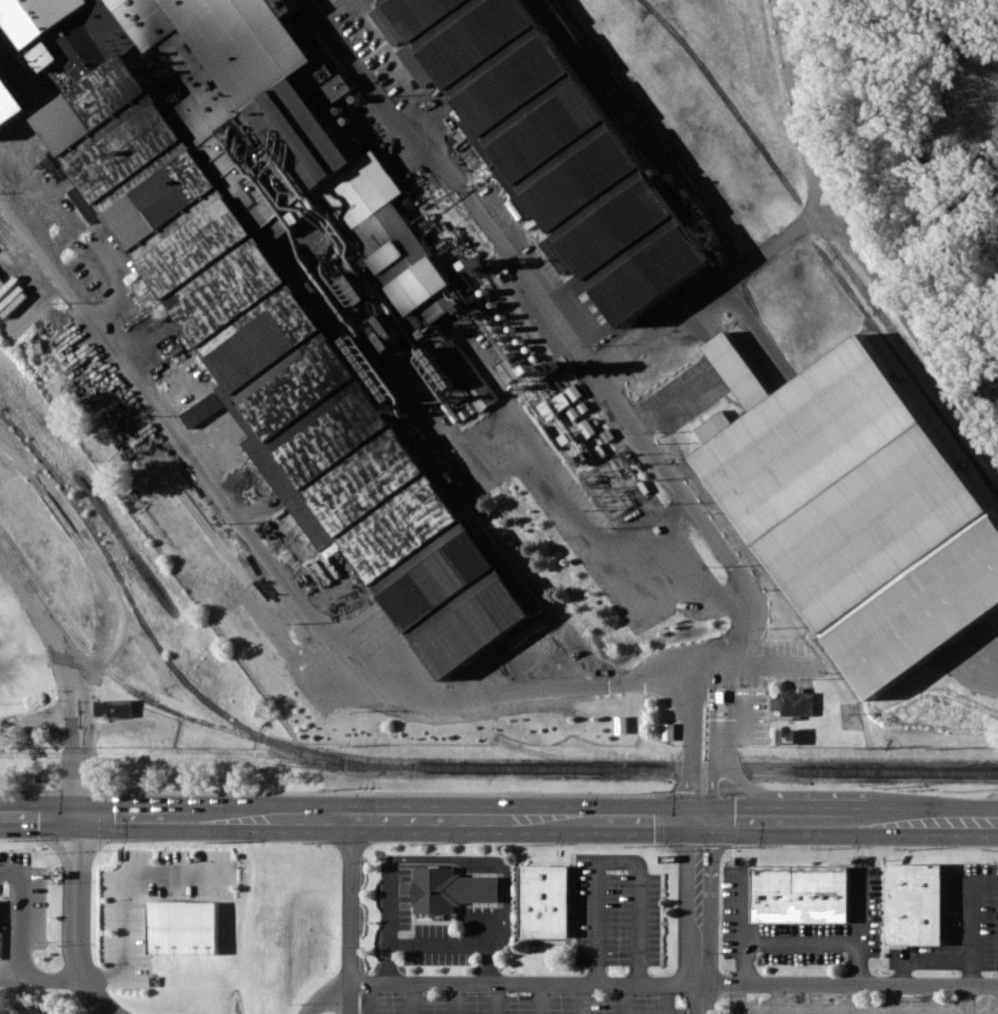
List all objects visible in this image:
building: (388, 24)
building: (417, 64)
building: (11, 99)
railway: (594, 114)
railway: (537, 130)
railway: (513, 136)
building: (565, 146)
railway: (689, 182)
railway: (823, 233)
road: (849, 239)
building: (557, 253)
road: (709, 287)
building: (453, 301)
building: (285, 368)
building: (461, 373)
road: (992, 381)
road: (672, 405)
building: (201, 409)
railway: (882, 504)
building: (862, 514)
road: (578, 524)
road: (682, 564)
road: (34, 603)
building: (526, 632)
railway: (986, 634)
road: (977, 656)
road: (776, 661)
road: (652, 676)
road: (87, 697)
road: (70, 699)
building: (795, 703)
building: (114, 708)
road: (35, 720)
road: (110, 733)
road: (713, 739)
road: (691, 743)
road: (730, 755)
railway: (697, 770)
road: (78, 780)
road: (39, 812)
traffic signals: (78, 813)
road: (137, 813)
road: (239, 814)
road: (394, 816)
road: (550, 818)
road: (646, 819)
traffic signals: (699, 820)
road: (736, 820)
road: (812, 820)
road: (857, 821)
road: (931, 821)
road: (619, 861)
building: (451, 889)
building: (802, 893)
building: (547, 900)
building: (917, 903)
road: (351, 914)
road: (18, 916)
road: (700, 917)
road: (970, 918)
road: (77, 919)
building: (184, 927)
road: (746, 927)
road: (859, 928)
road: (803, 942)
road: (438, 943)
road: (127, 944)
road: (499, 983)
road: (850, 984)
road: (373, 998)
road: (414, 998)
road: (456, 998)
road: (497, 998)
road: (540, 998)
road: (583, 998)
road: (625, 998)
road: (666, 998)
road: (739, 999)
road: (778, 999)
road: (817, 999)
road: (854, 999)
road: (892, 999)
road: (930, 999)
road: (967, 999)

